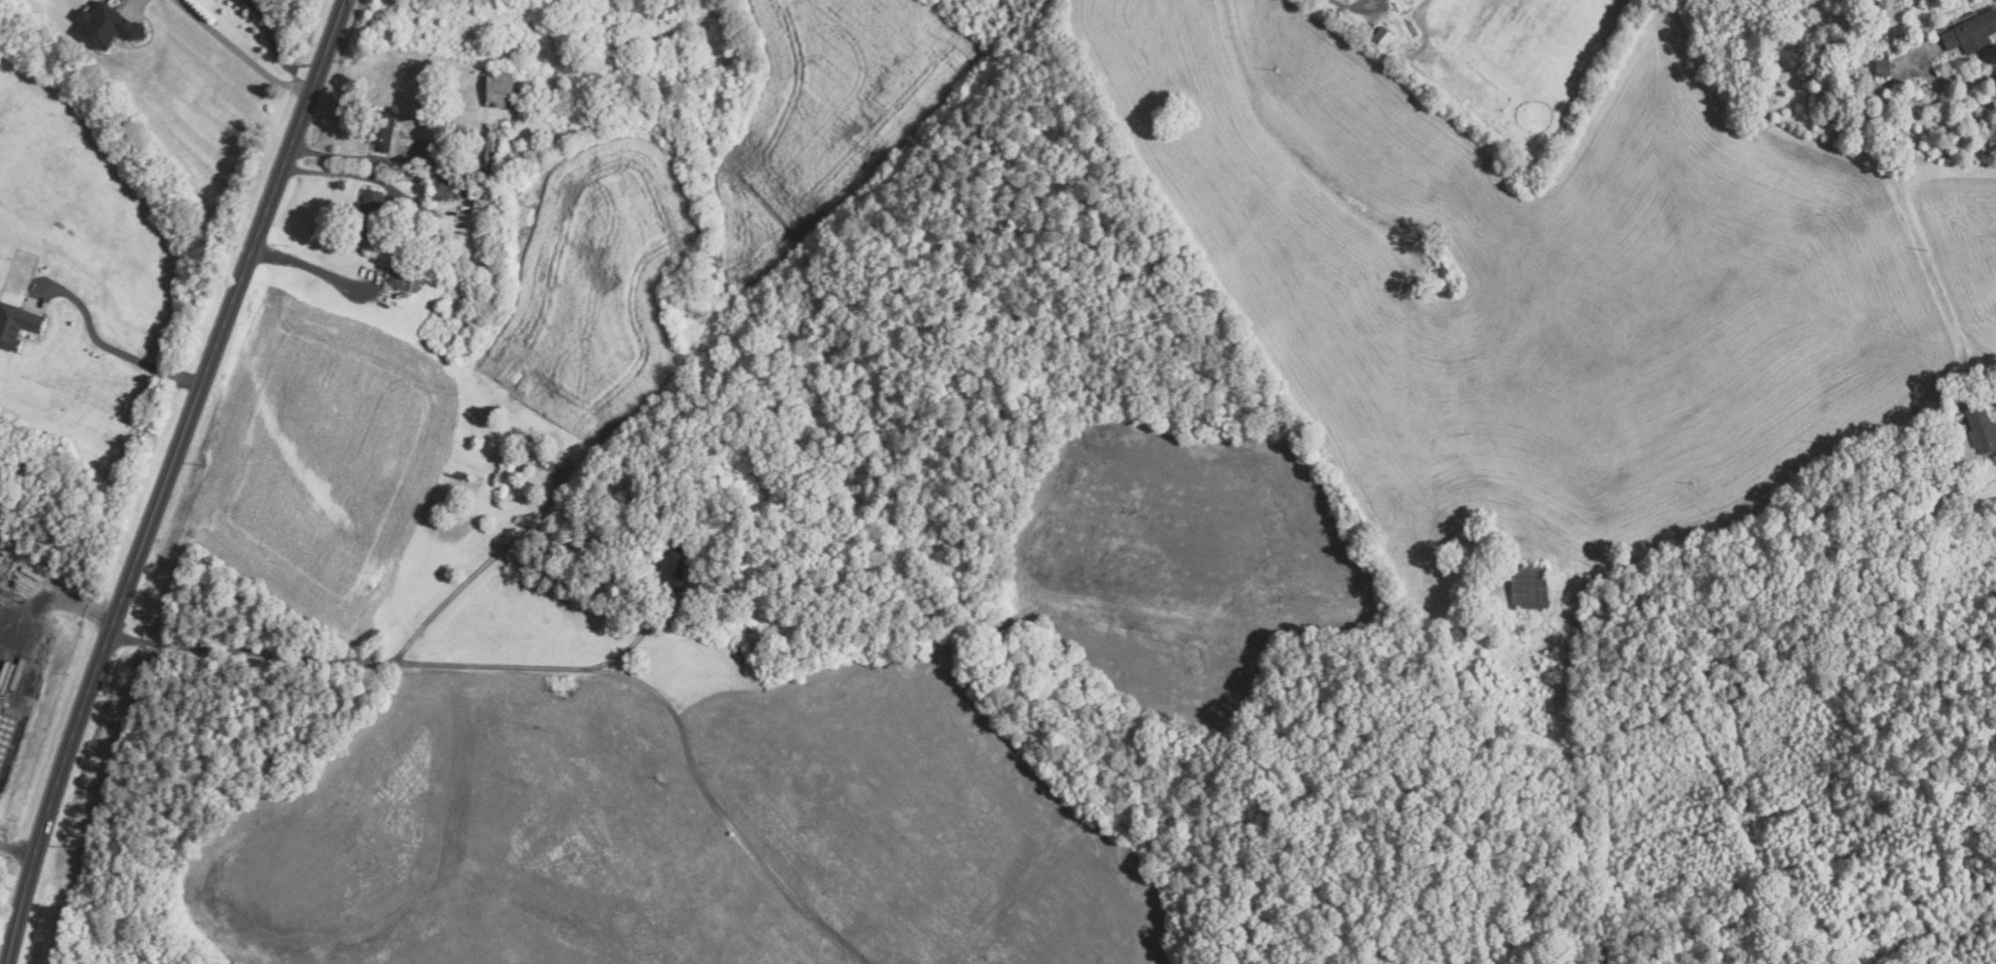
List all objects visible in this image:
road: (248, 0)
road: (249, 0)
building: (1883, 5)
building: (107, 27)
building: (1973, 33)
building: (1385, 36)
road: (272, 50)
road: (238, 52)
building: (1883, 67)
road: (1950, 78)
building: (500, 87)
building: (488, 126)
building: (386, 133)
building: (492, 156)
road: (361, 159)
road: (361, 176)
building: (1526, 183)
building: (442, 189)
building: (459, 197)
building: (369, 213)
crop: (601, 218)
road: (311, 268)
building: (405, 273)
building: (17, 325)
road: (110, 349)
building: (1982, 427)
building: (531, 439)
building: (541, 442)
crop: (325, 459)
building: (573, 472)
road: (165, 478)
building: (507, 478)
building: (1477, 548)
road: (1757, 559)
building: (671, 560)
road: (485, 561)
building: (1531, 586)
road: (55, 612)
road: (623, 638)
road: (345, 657)
building: (6, 733)
road: (718, 808)
crop: (927, 817)
crop: (492, 843)
road: (16, 846)

